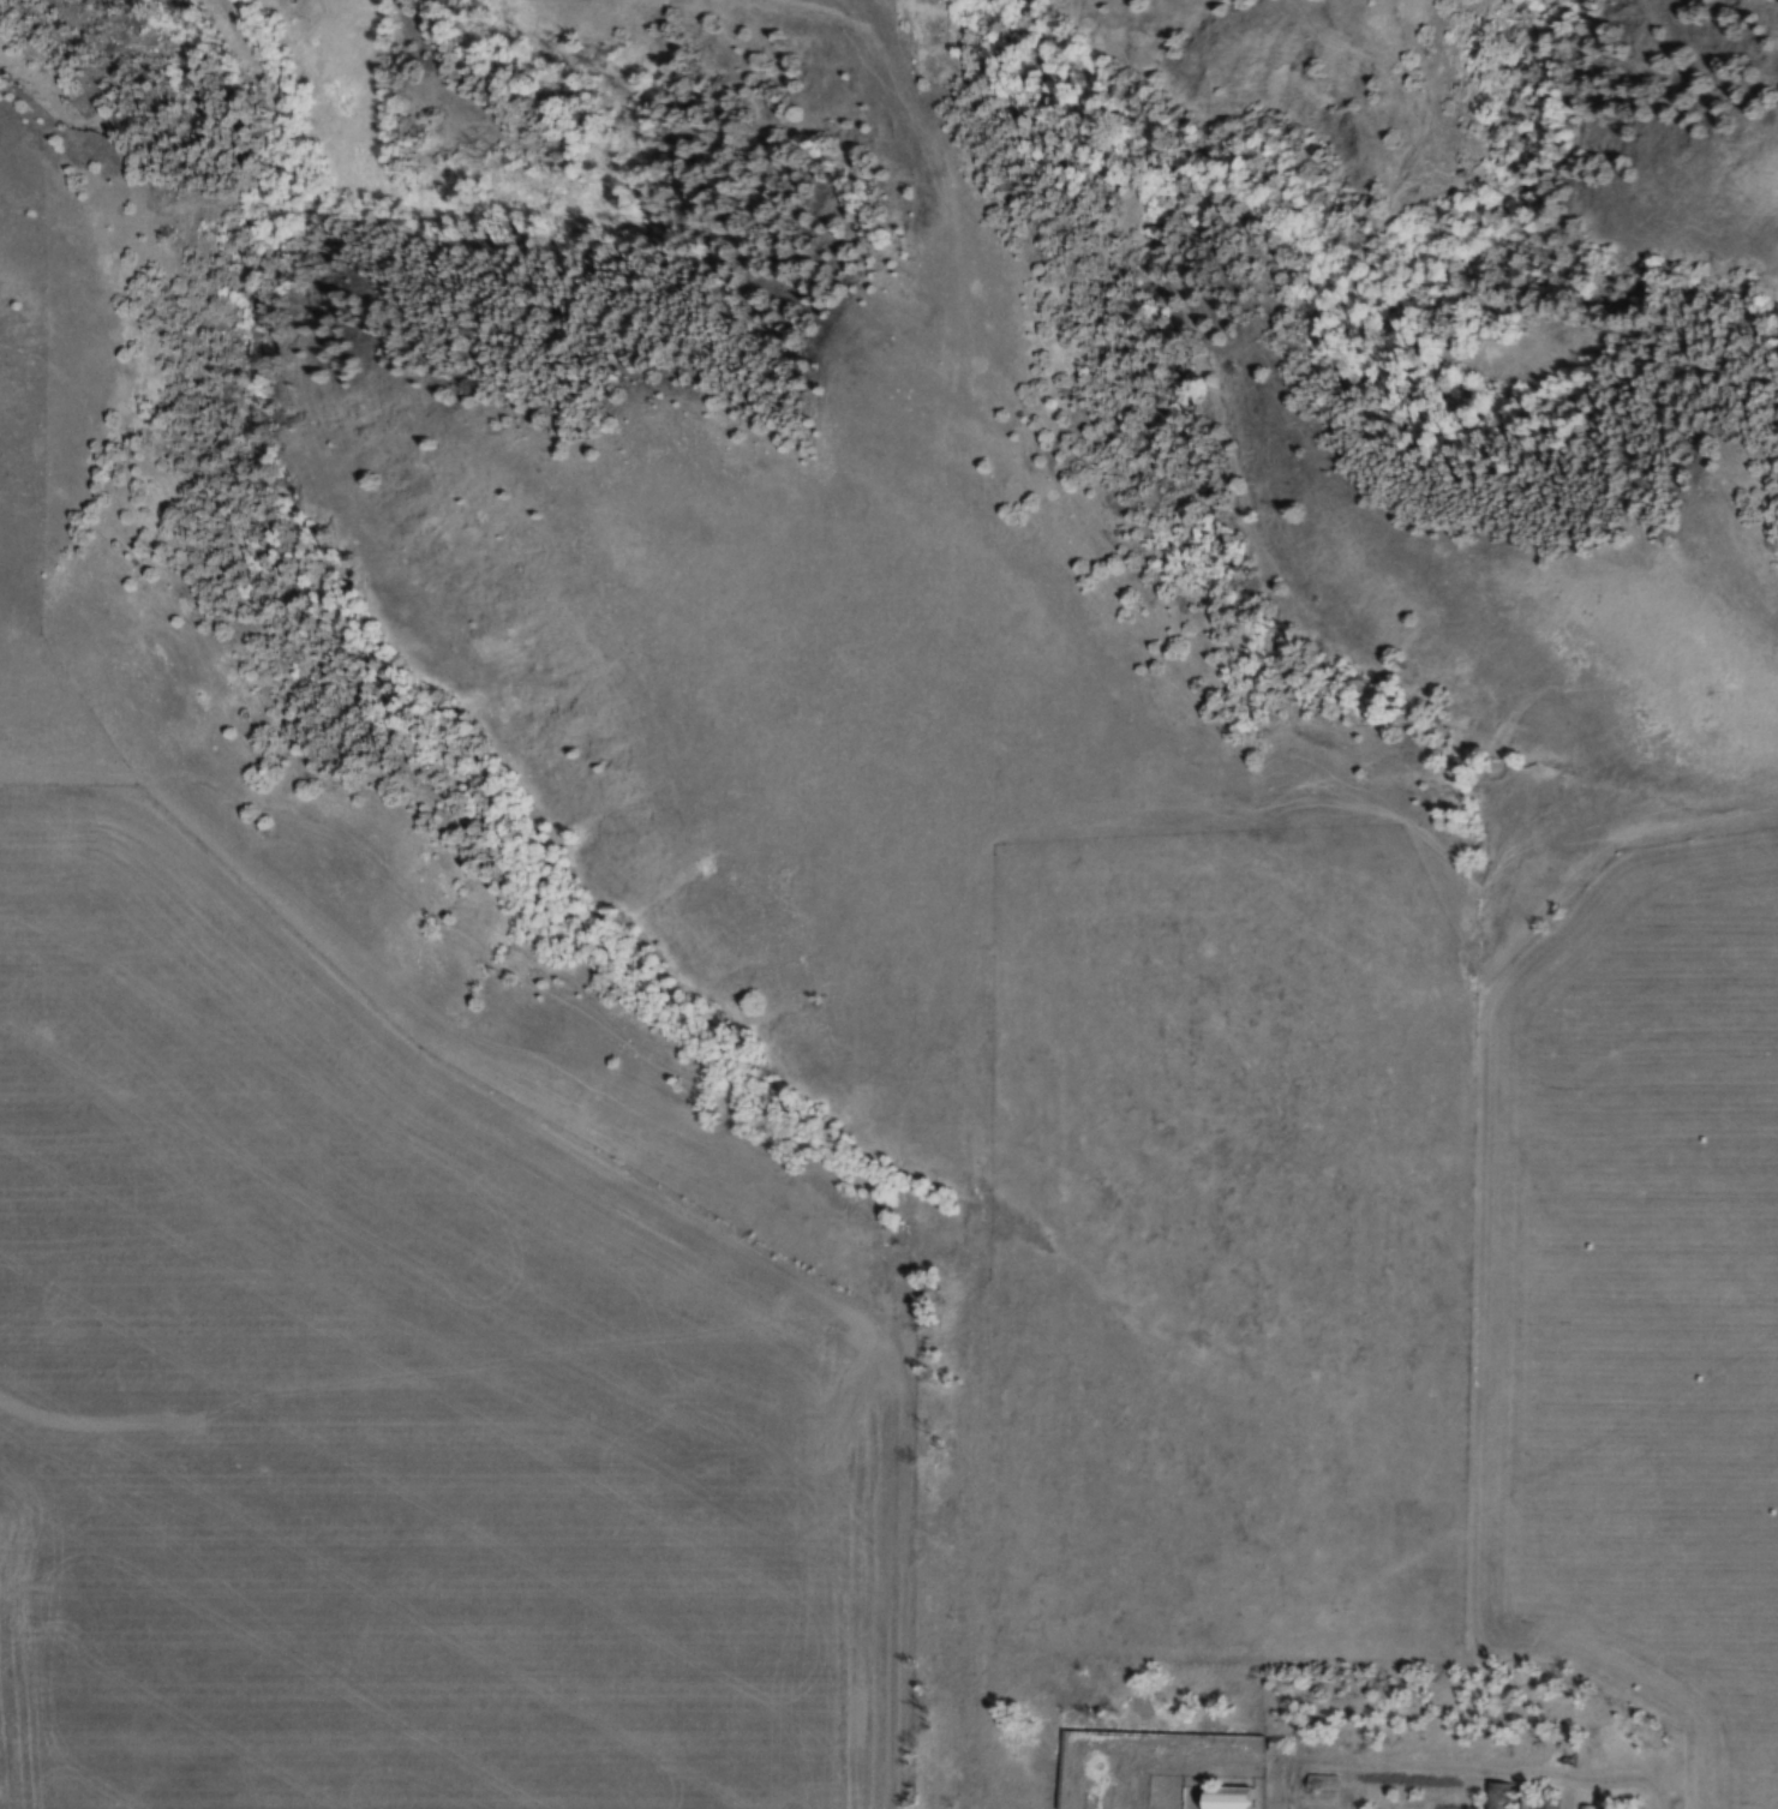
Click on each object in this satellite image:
building: (1227, 1797)
building: (1539, 1799)
building: (1587, 1807)

